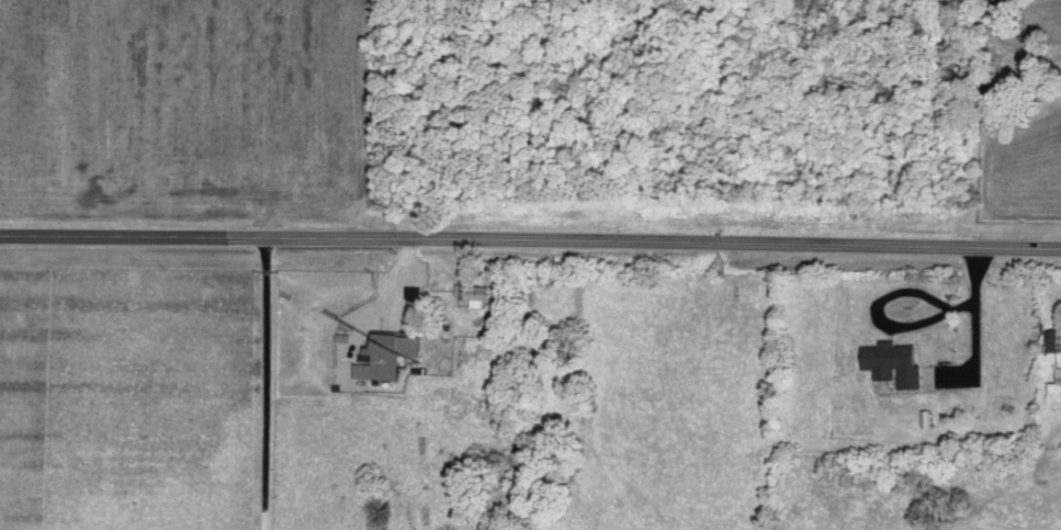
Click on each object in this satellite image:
road: (530, 240)
building: (470, 293)
building: (1051, 342)
building: (394, 348)
building: (1056, 376)
road: (263, 384)

